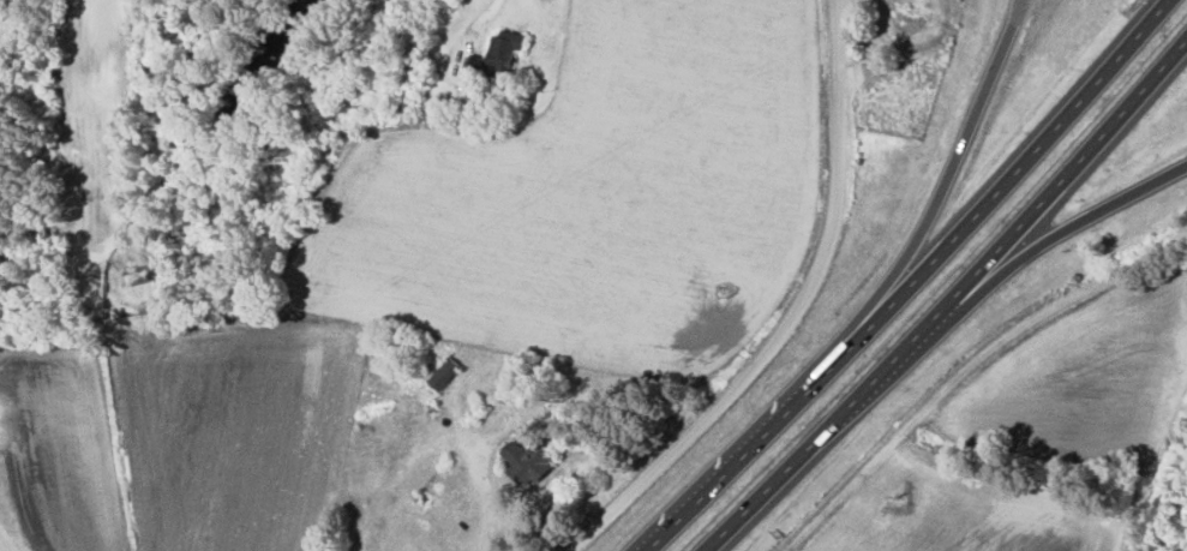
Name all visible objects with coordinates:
road: (491, 10)
building: (498, 54)
road: (942, 192)
road: (1043, 250)
road: (913, 277)
road: (954, 303)
road: (798, 315)
building: (444, 375)
building: (529, 461)

